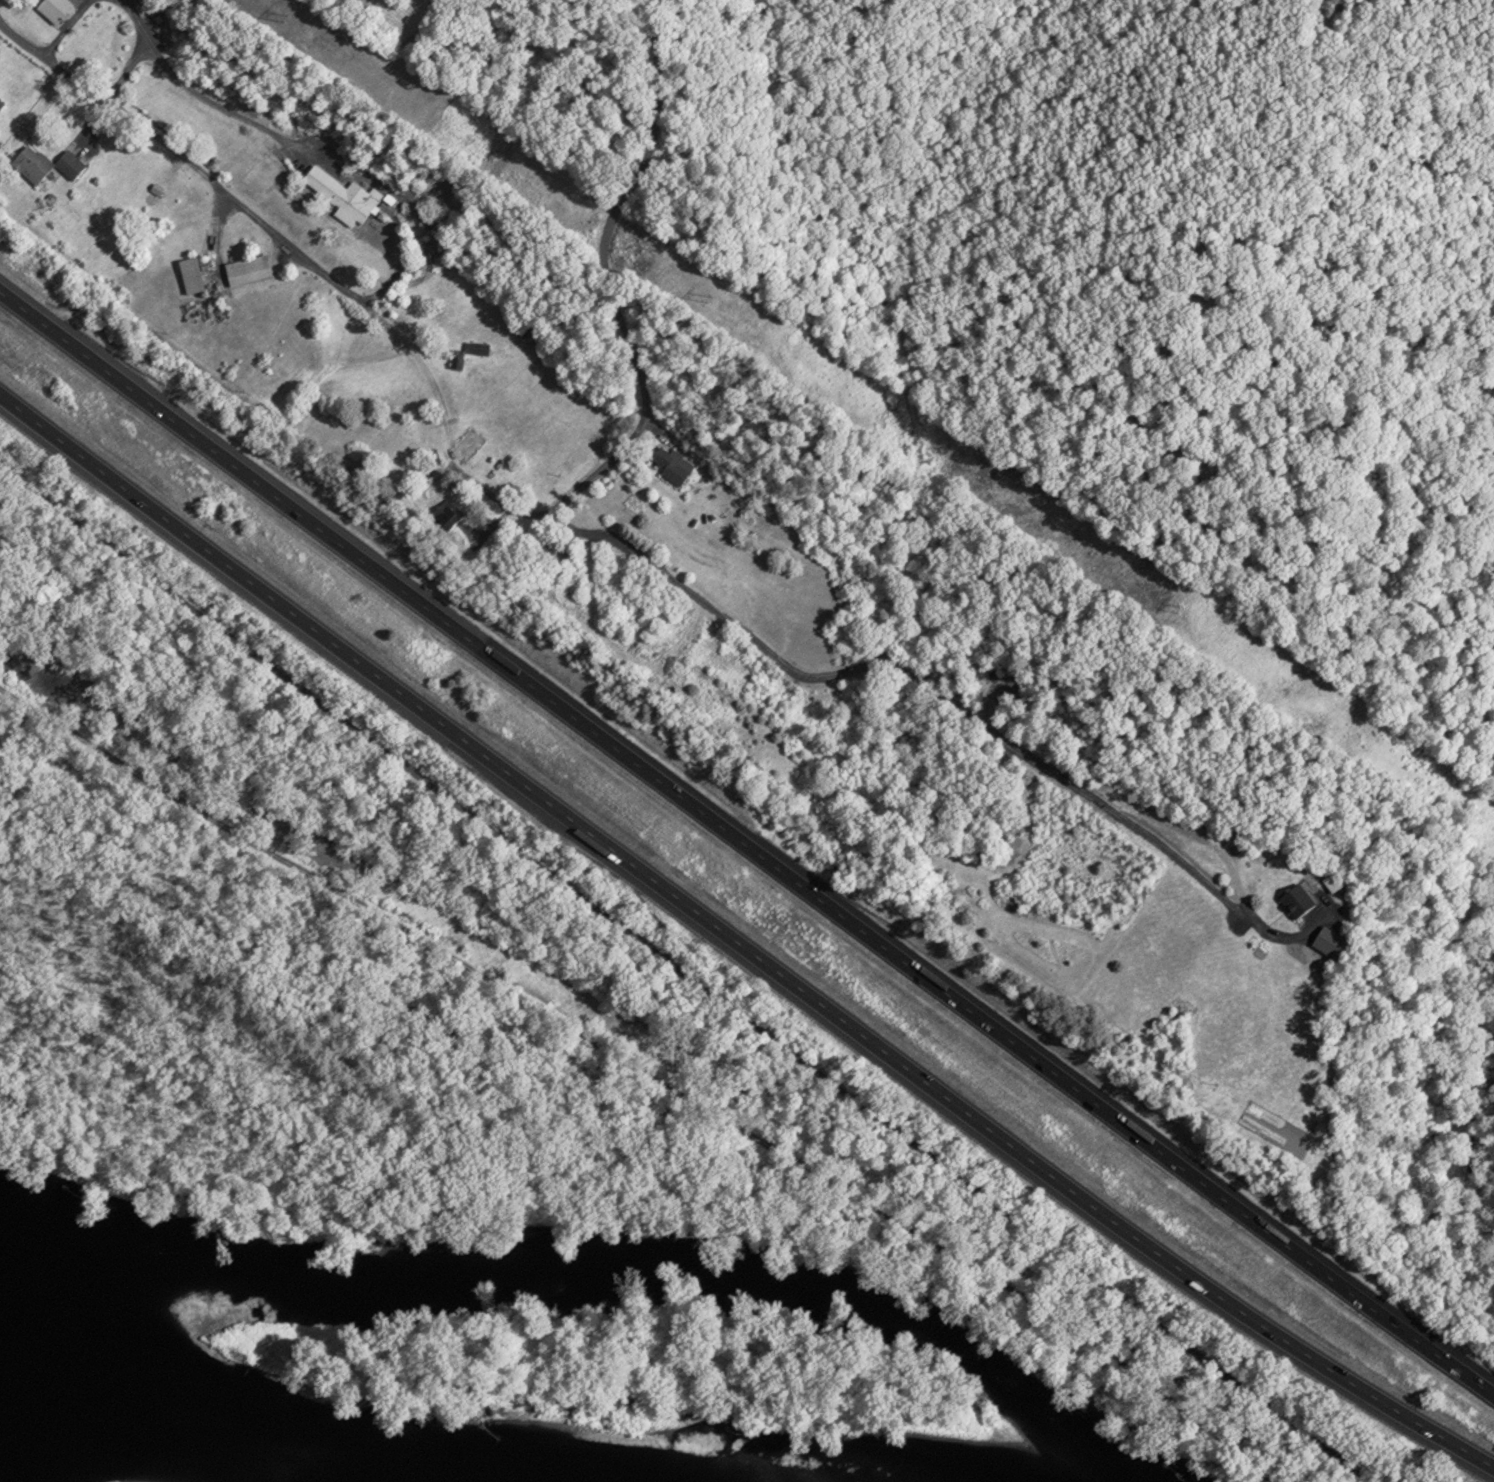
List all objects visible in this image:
building: (51, 9)
road: (66, 27)
road: (127, 71)
road: (211, 104)
building: (41, 164)
building: (338, 196)
building: (245, 271)
building: (188, 275)
building: (474, 348)
building: (669, 465)
road: (467, 479)
building: (442, 515)
road: (945, 695)
road: (746, 844)
building: (1295, 900)
park: (589, 916)
road: (738, 942)
building: (1322, 943)
road: (686, 974)
road: (644, 1074)
river: (226, 1453)

